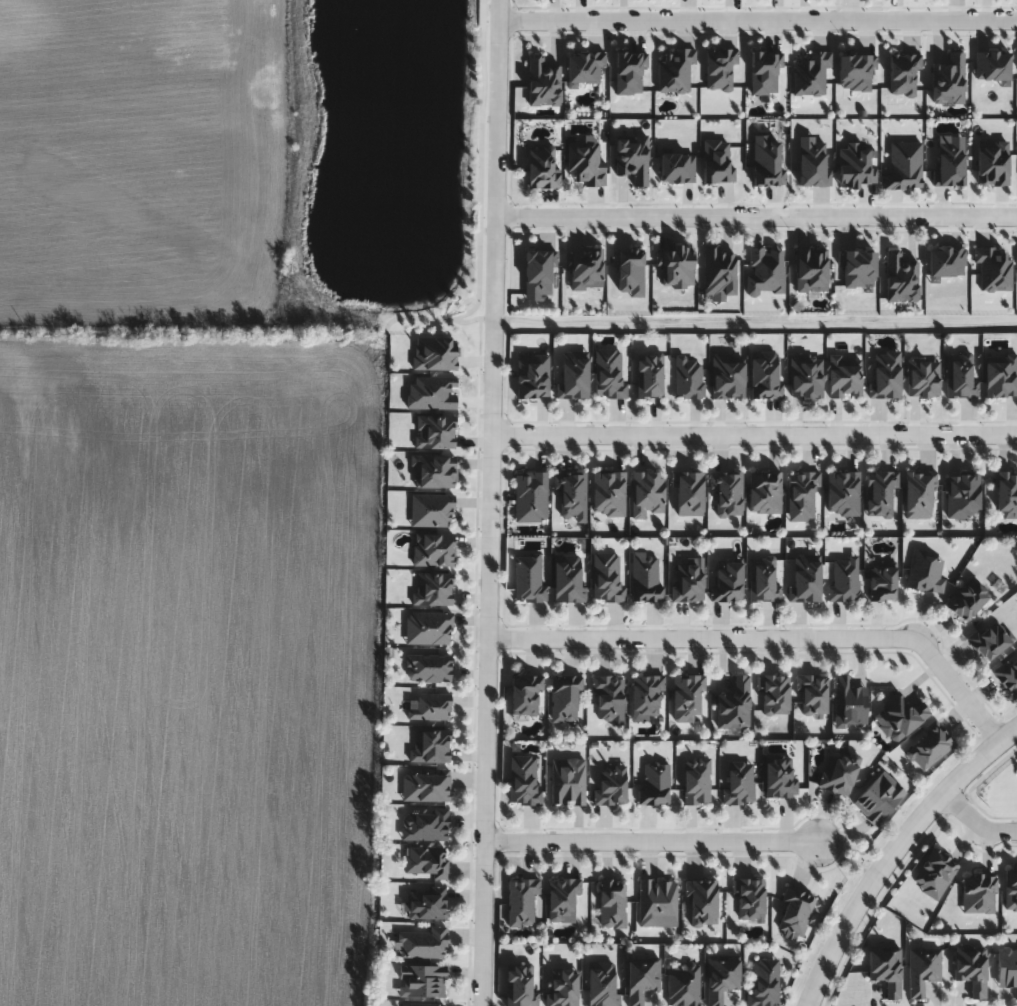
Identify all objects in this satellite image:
road: (758, 21)
road: (478, 203)
road: (757, 217)
road: (492, 318)
road: (468, 320)
road: (759, 323)
road: (755, 435)
building: (570, 493)
building: (962, 496)
road: (491, 502)
building: (924, 572)
building: (527, 577)
building: (606, 577)
building: (644, 578)
building: (806, 578)
building: (567, 579)
building: (762, 580)
building: (727, 581)
building: (843, 581)
building: (687, 583)
building: (882, 583)
building: (967, 599)
road: (767, 638)
building: (989, 640)
building: (428, 668)
building: (773, 693)
building: (812, 693)
building: (645, 694)
building: (525, 695)
building: (608, 696)
building: (563, 697)
building: (686, 697)
building: (848, 703)
building: (734, 705)
building: (900, 716)
building: (929, 748)
building: (839, 773)
building: (779, 776)
building: (522, 779)
building: (696, 780)
building: (567, 781)
building: (653, 782)
building: (738, 783)
building: (610, 785)
building: (424, 787)
building: (878, 797)
road: (976, 824)
building: (423, 826)
road: (650, 842)
road: (892, 851)
building: (425, 862)
building: (748, 898)
building: (562, 900)
building: (701, 901)
building: (656, 902)
building: (521, 903)
building: (426, 904)
building: (611, 904)
building: (794, 912)
building: (422, 943)
building: (885, 968)
building: (922, 969)
building: (971, 969)
building: (1007, 969)
building: (721, 976)
building: (640, 978)
building: (420, 981)
building: (763, 982)
building: (682, 986)
building: (561, 987)

